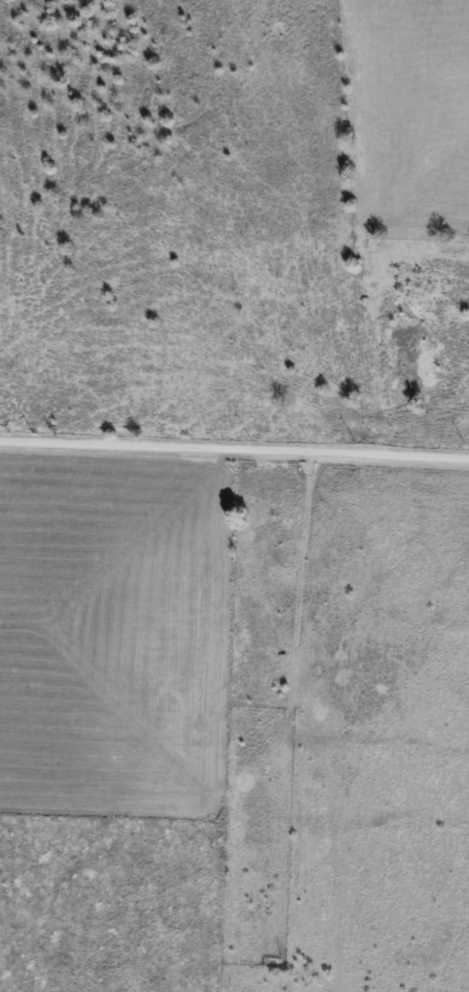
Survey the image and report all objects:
road: (234, 448)

